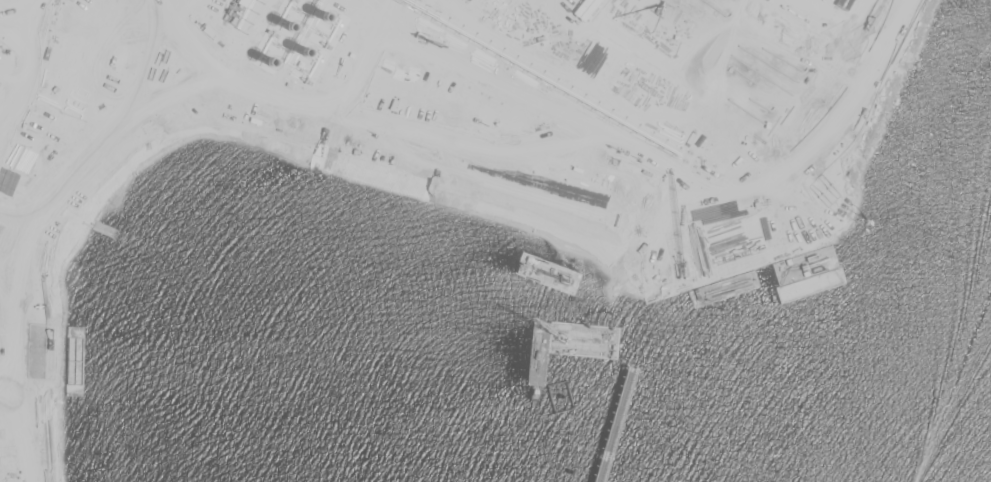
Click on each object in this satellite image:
building: (114, 11)
building: (111, 41)
building: (195, 54)
road: (252, 111)
building: (14, 113)
building: (33, 116)
building: (63, 120)
building: (88, 125)
building: (113, 129)
building: (38, 320)

